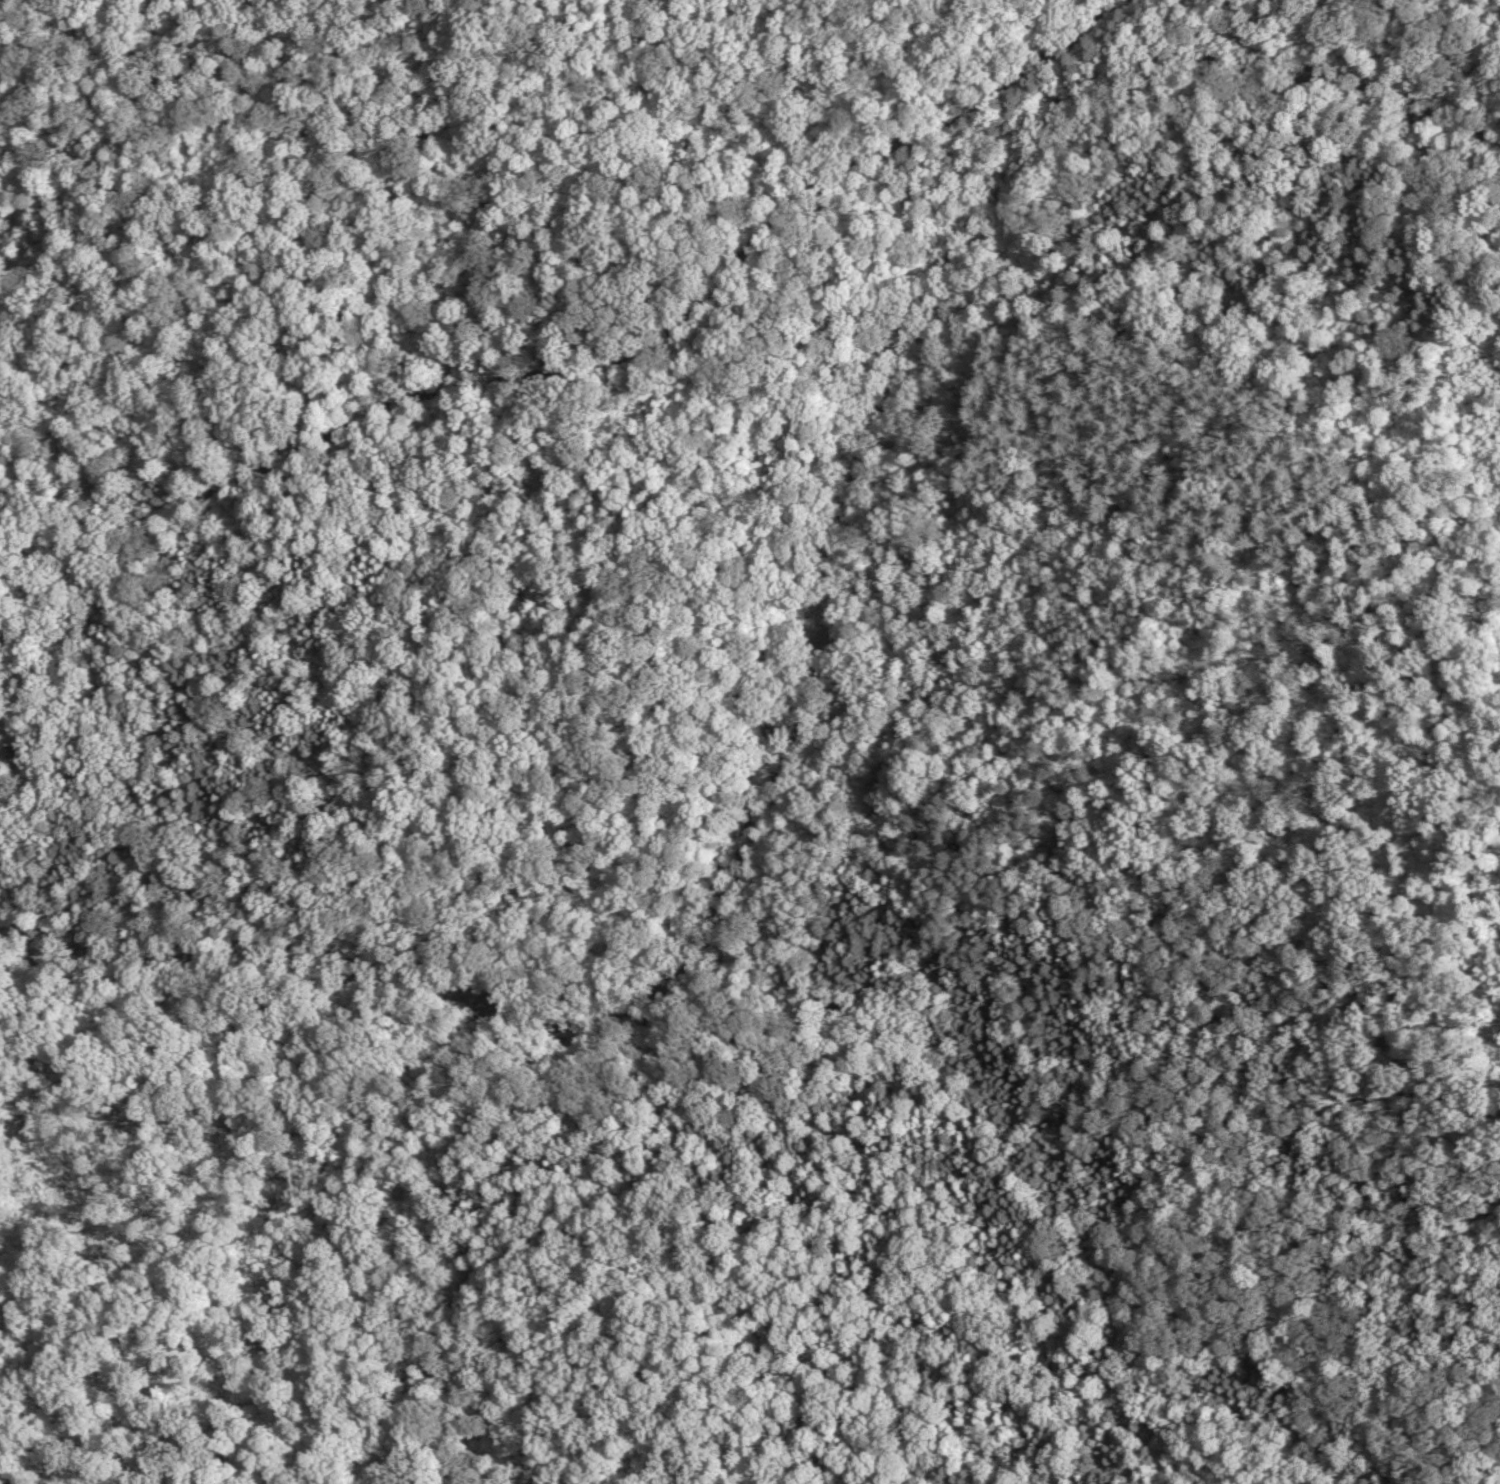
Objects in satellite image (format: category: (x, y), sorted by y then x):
road: (546, 373)
park: (461, 433)
road: (700, 1065)
road: (99, 1399)

